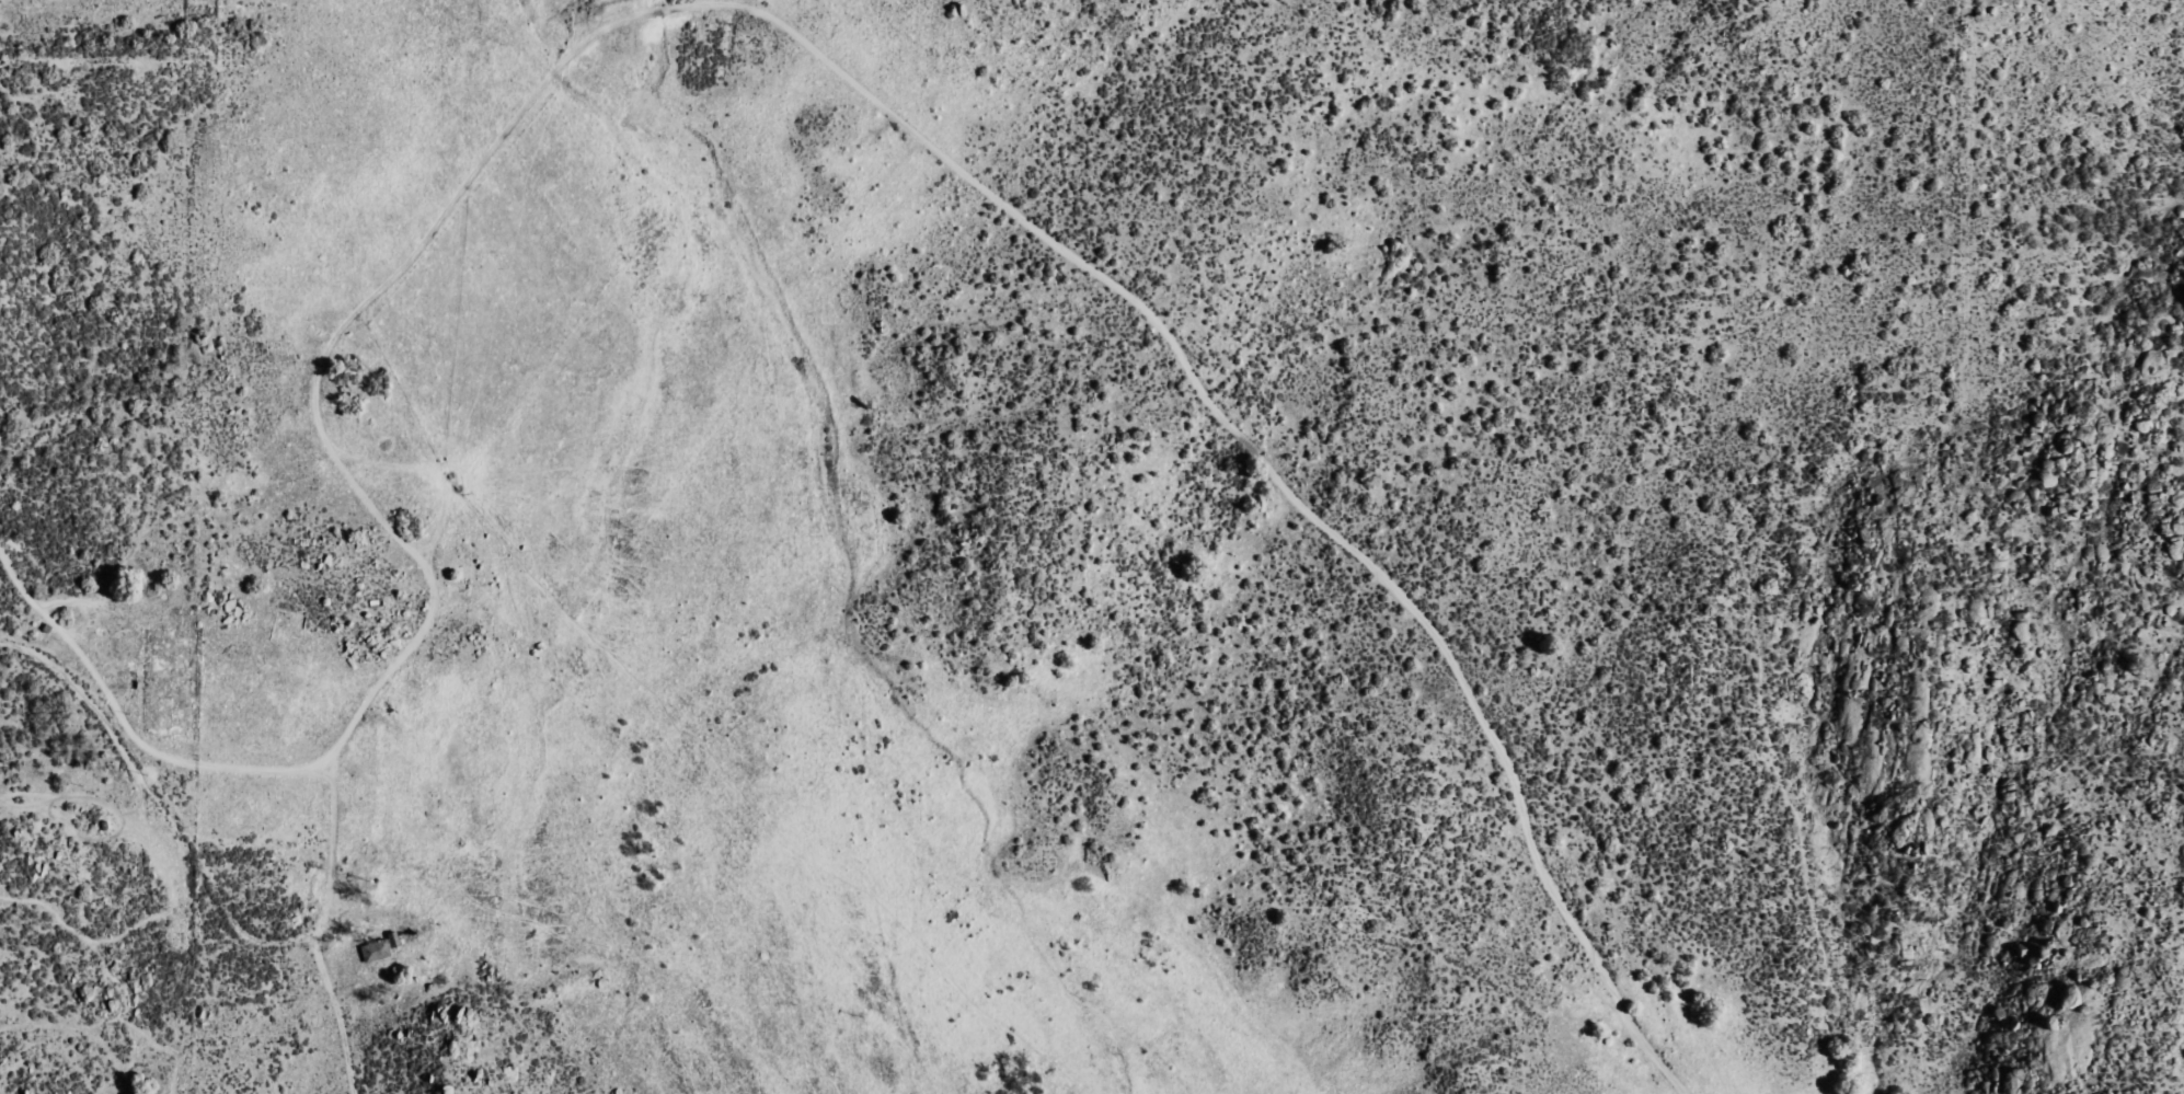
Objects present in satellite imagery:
road: (198, 868)

